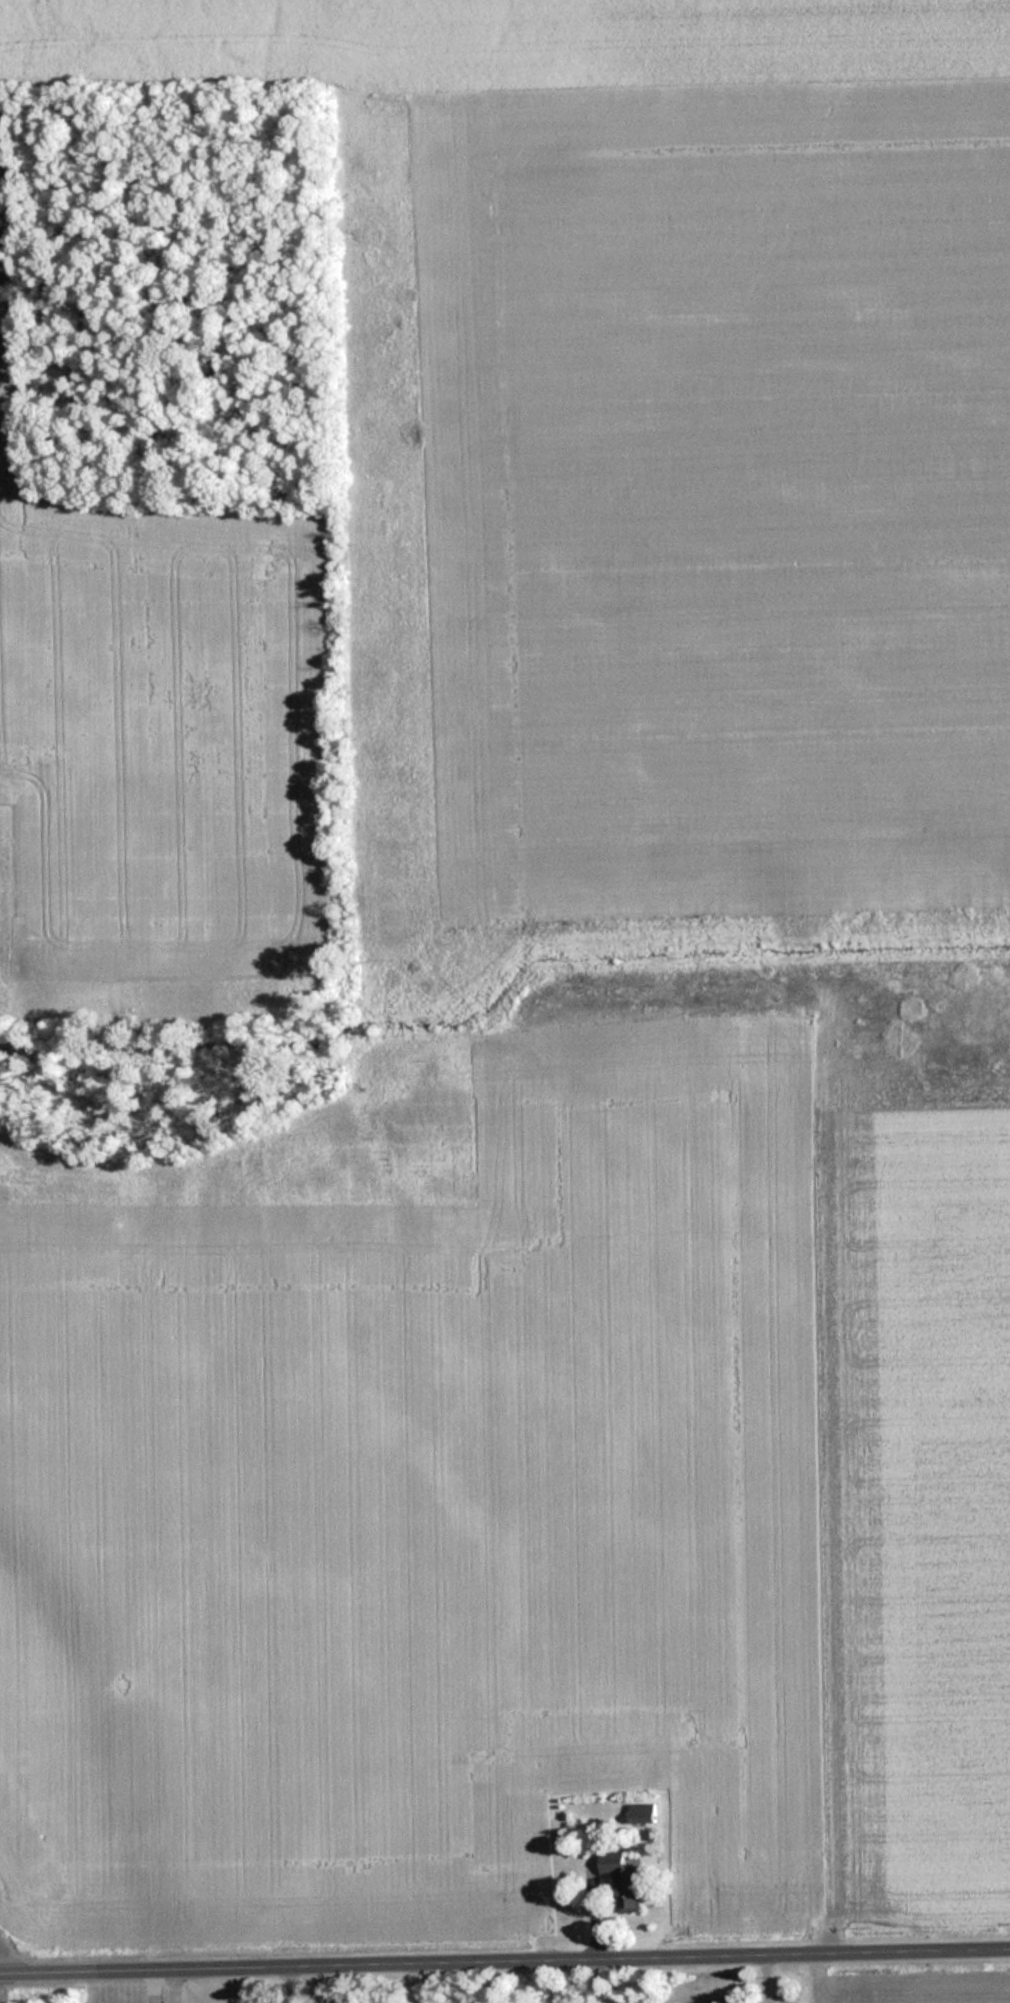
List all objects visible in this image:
building: (643, 1814)
building: (624, 1882)
road: (505, 1960)

